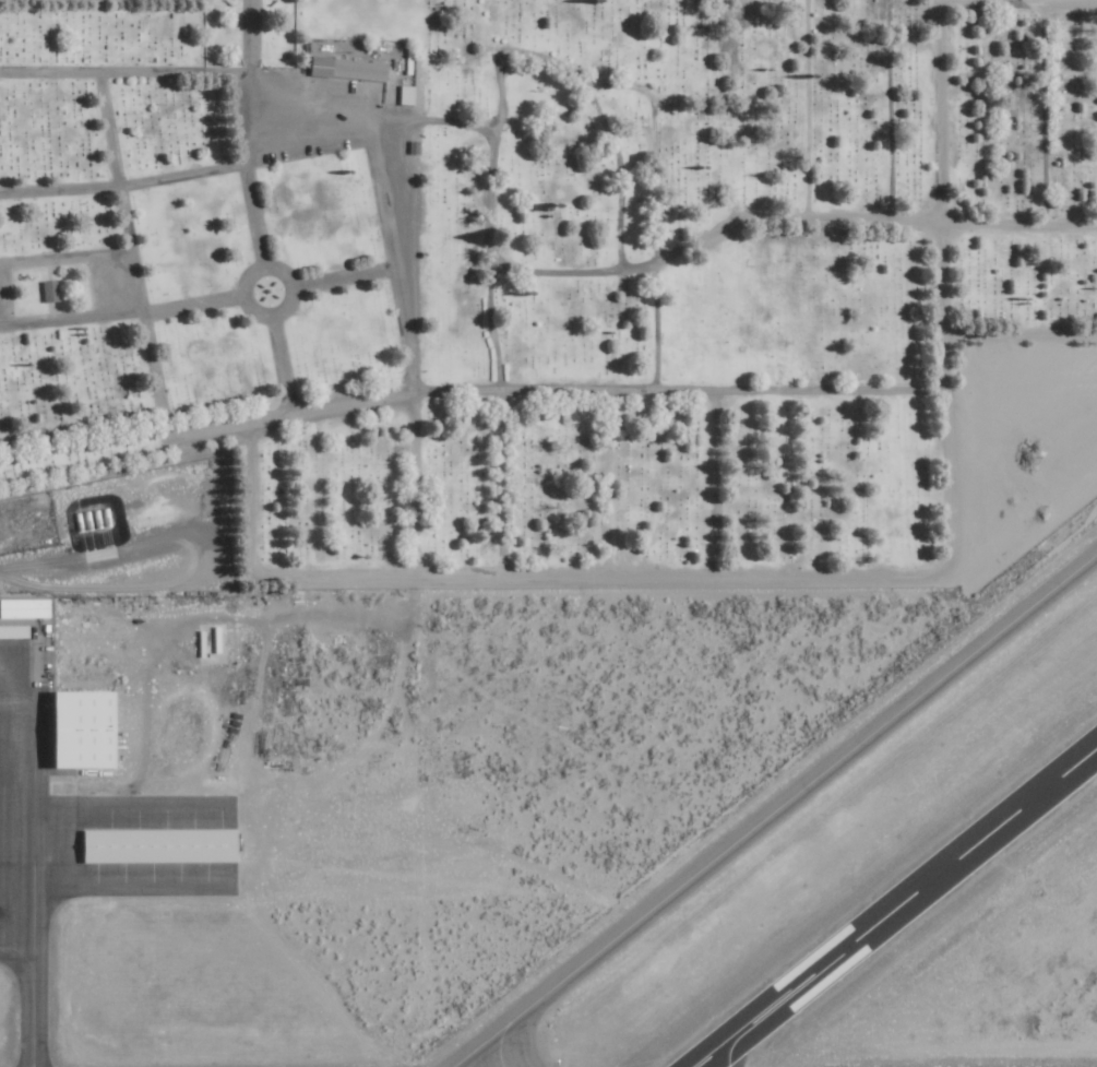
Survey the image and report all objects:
road: (248, 37)
building: (350, 68)
road: (123, 74)
building: (408, 96)
road: (187, 170)
road: (246, 171)
road: (389, 192)
road: (128, 244)
road: (64, 258)
road: (263, 269)
park: (541, 272)
road: (345, 277)
building: (53, 291)
road: (121, 313)
road: (279, 364)
road: (547, 391)
road: (80, 427)
road: (880, 573)
building: (27, 608)
building: (15, 631)
building: (92, 730)
airport taxiway: (775, 809)
airport apron: (20, 830)
building: (163, 845)
airport runway: (894, 905)
airport taxiway: (26, 1015)

